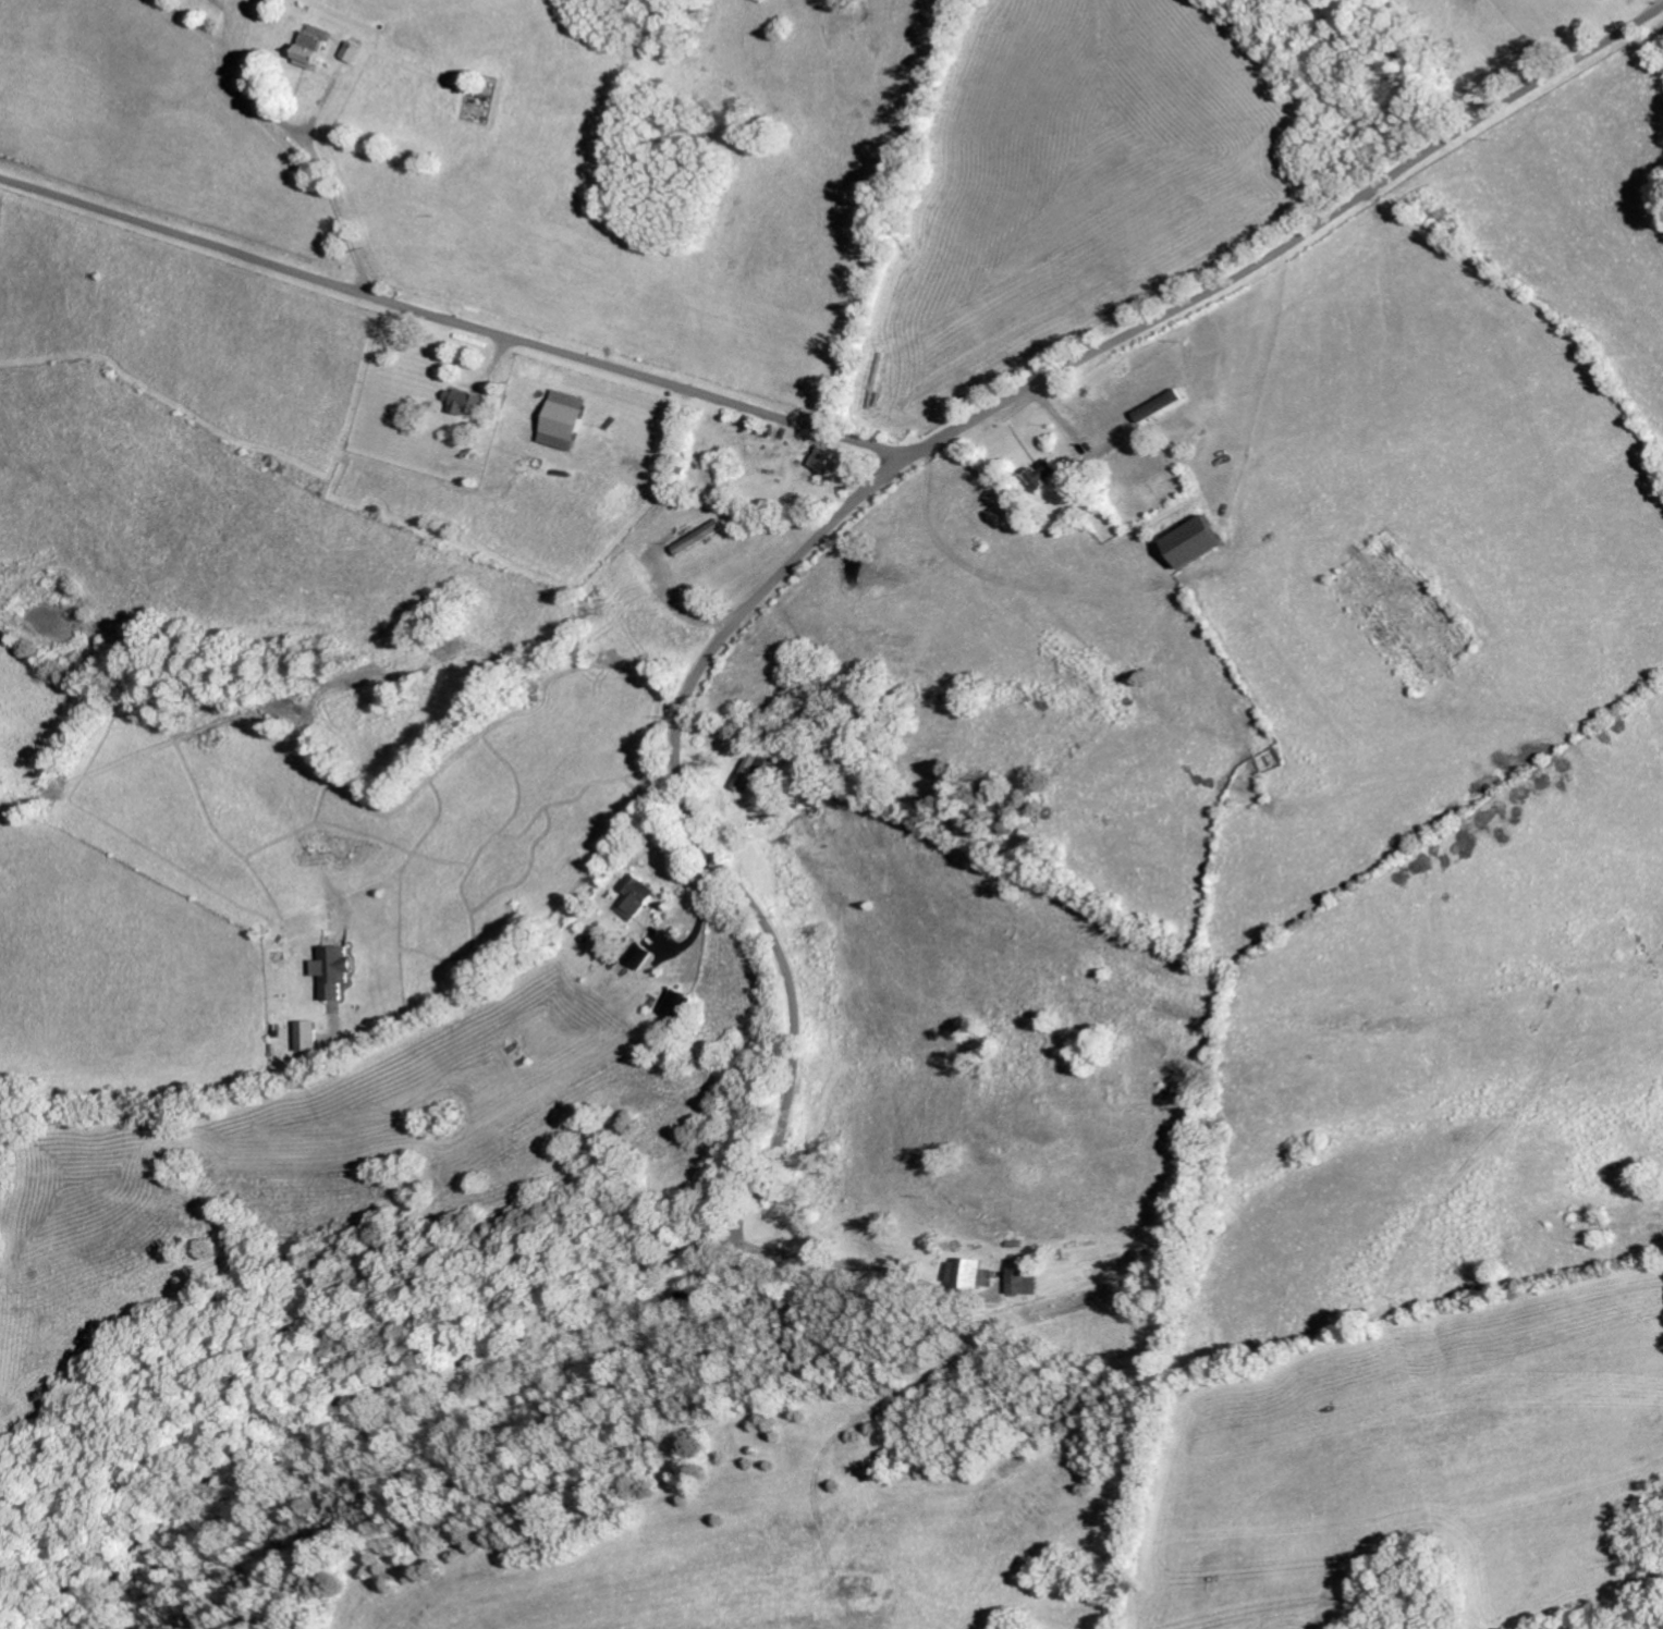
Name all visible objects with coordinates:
building: (314, 48)
building: (355, 53)
road: (326, 184)
road: (453, 320)
building: (465, 404)
building: (565, 421)
building: (831, 464)
building: (1047, 476)
building: (700, 539)
building: (1195, 544)
road: (680, 611)
road: (678, 774)
building: (638, 899)
building: (643, 957)
building: (334, 973)
building: (684, 1007)
road: (384, 1029)
building: (308, 1038)
road: (834, 1251)
building: (971, 1275)
building: (1023, 1279)

